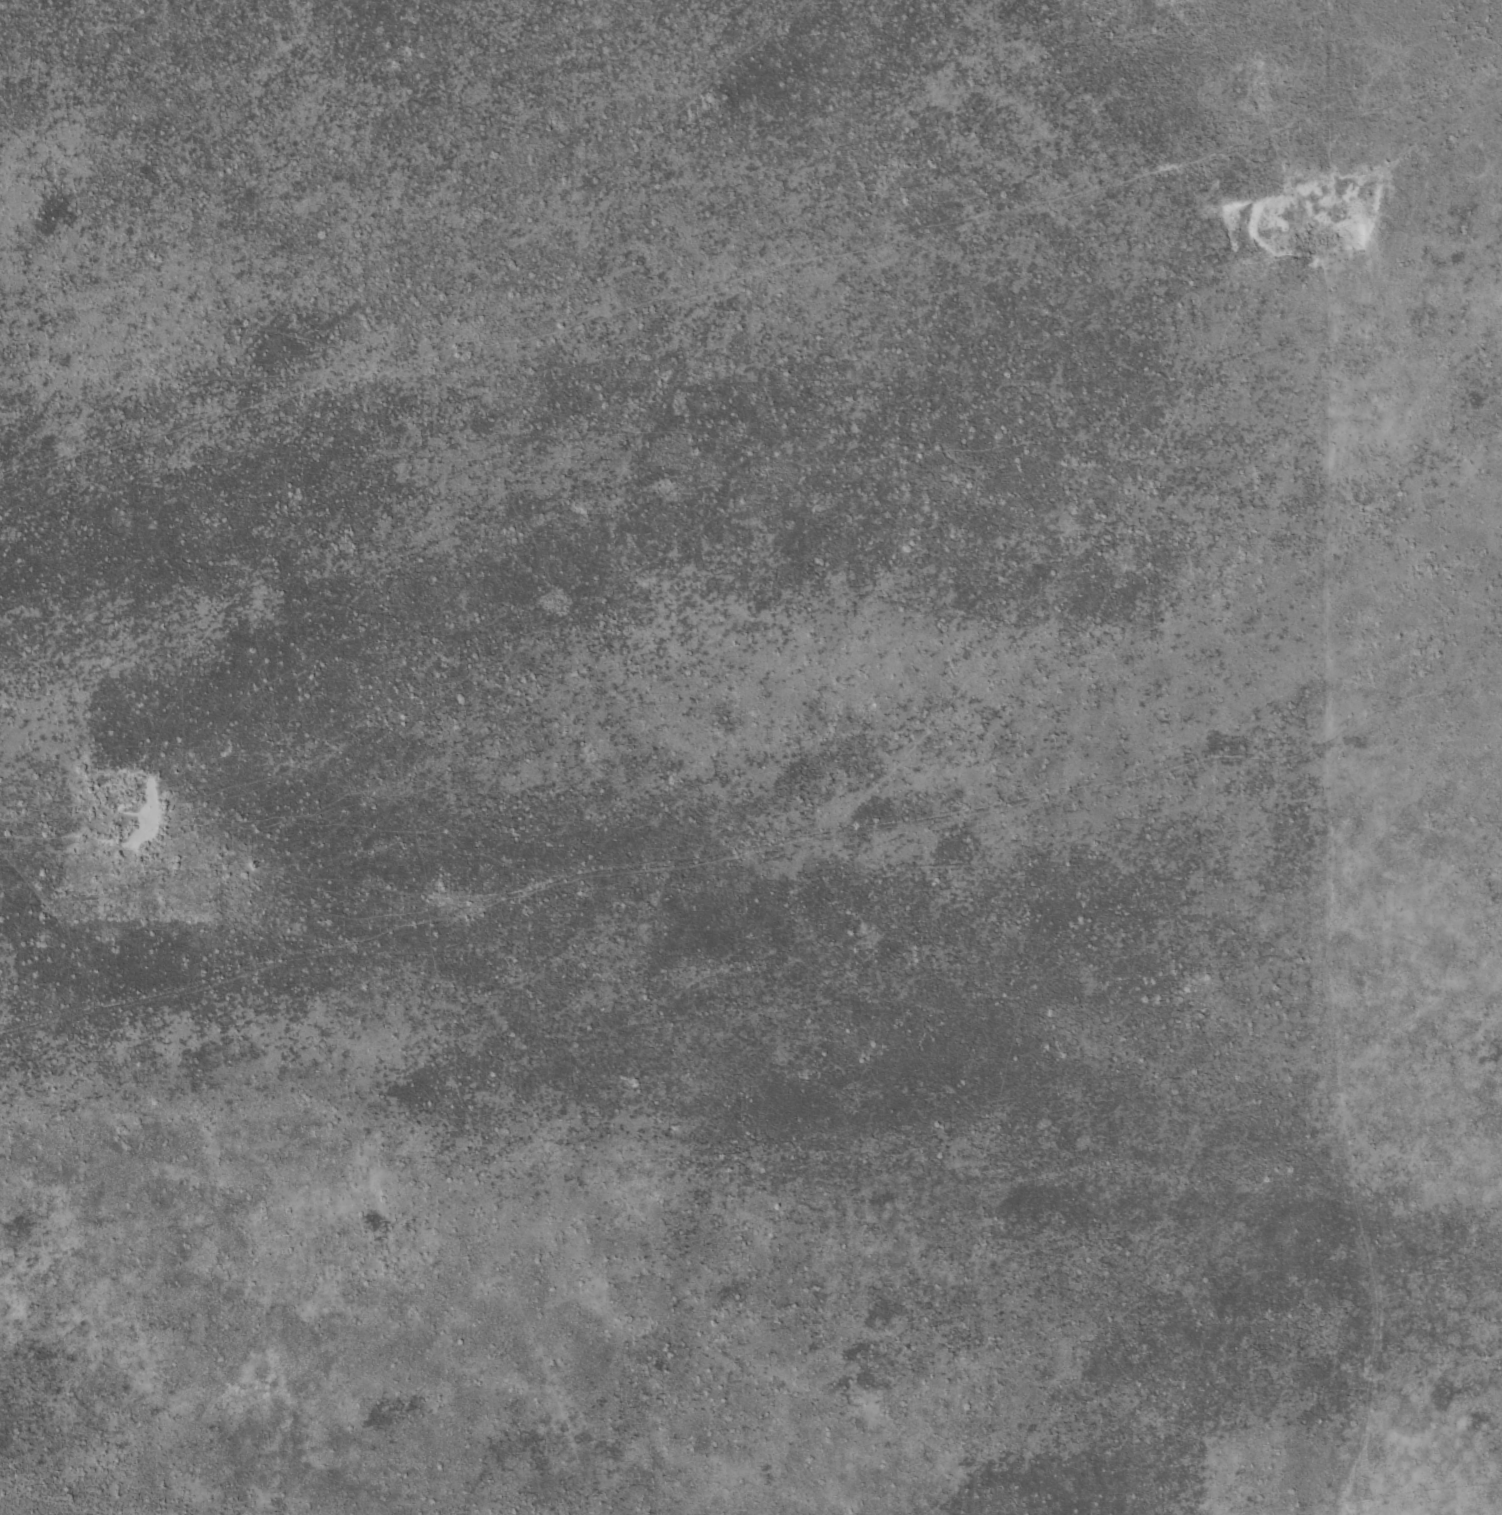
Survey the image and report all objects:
road: (736, 706)
road: (1332, 766)

